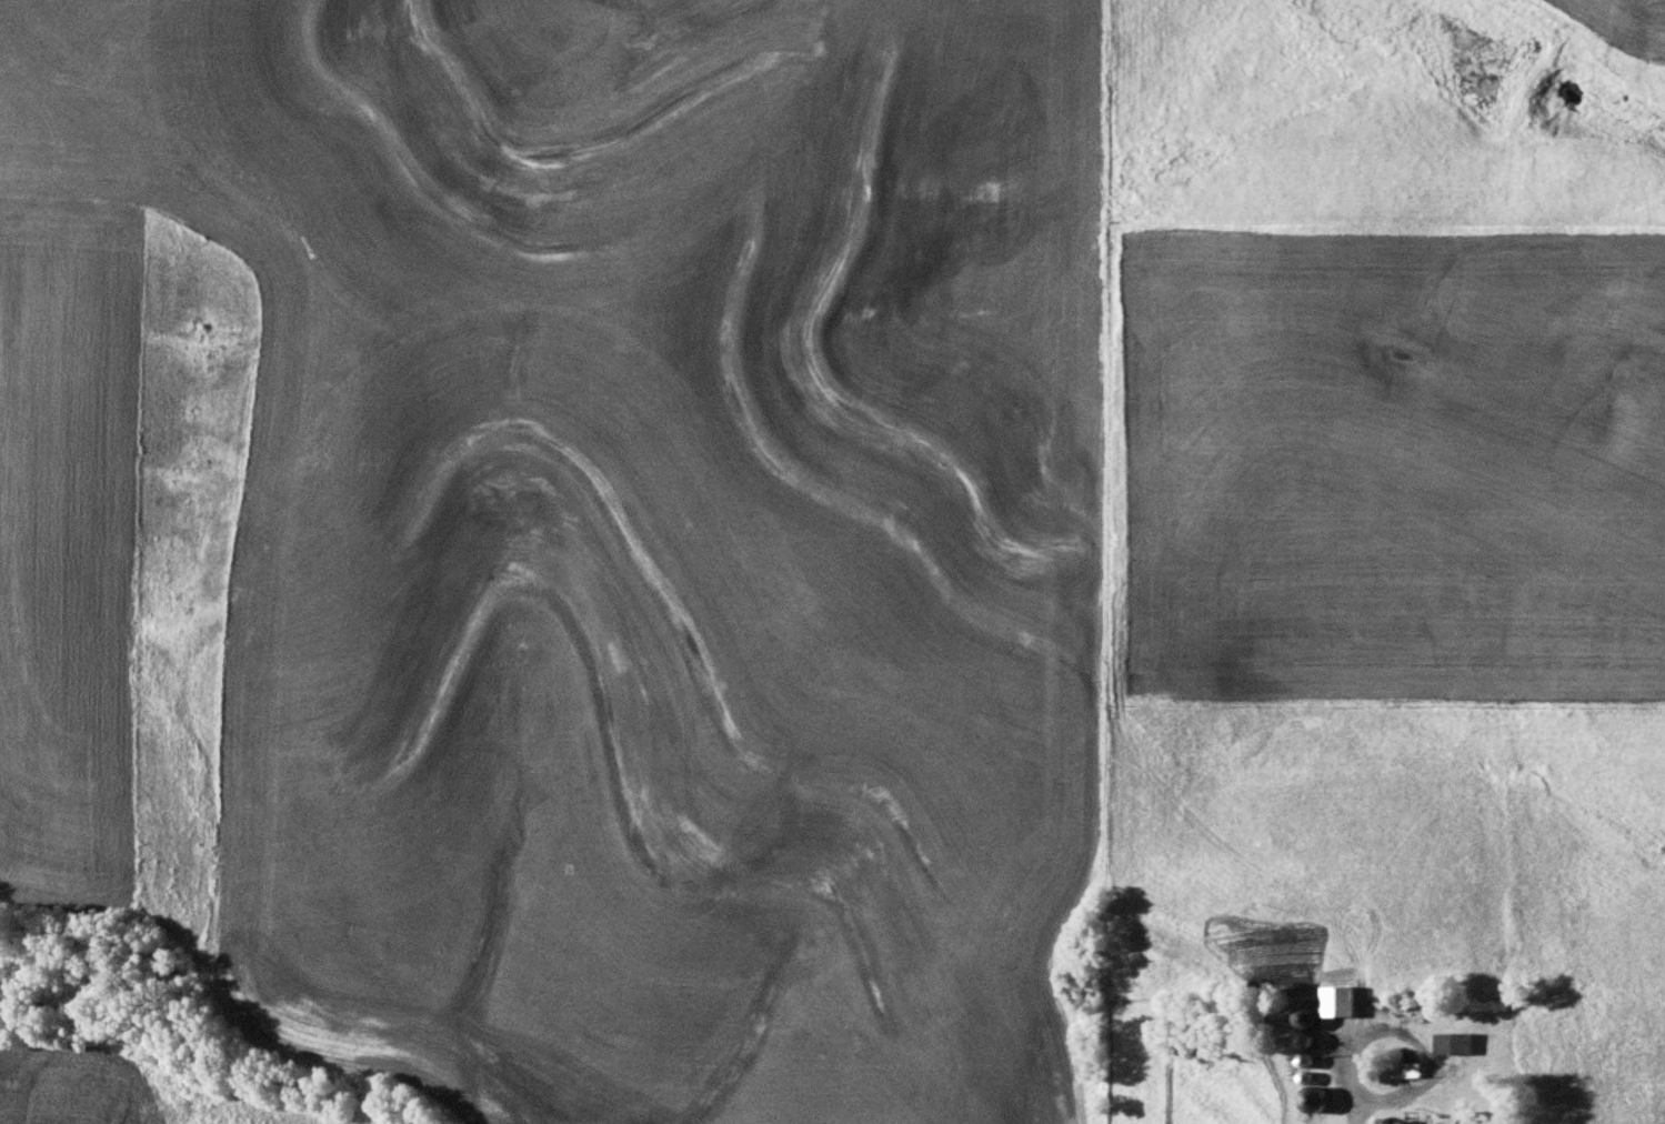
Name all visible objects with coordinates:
building: (1330, 1003)
building: (1307, 1036)
building: (1453, 1040)
building: (1407, 1066)
road: (1386, 1094)
building: (1406, 1120)

